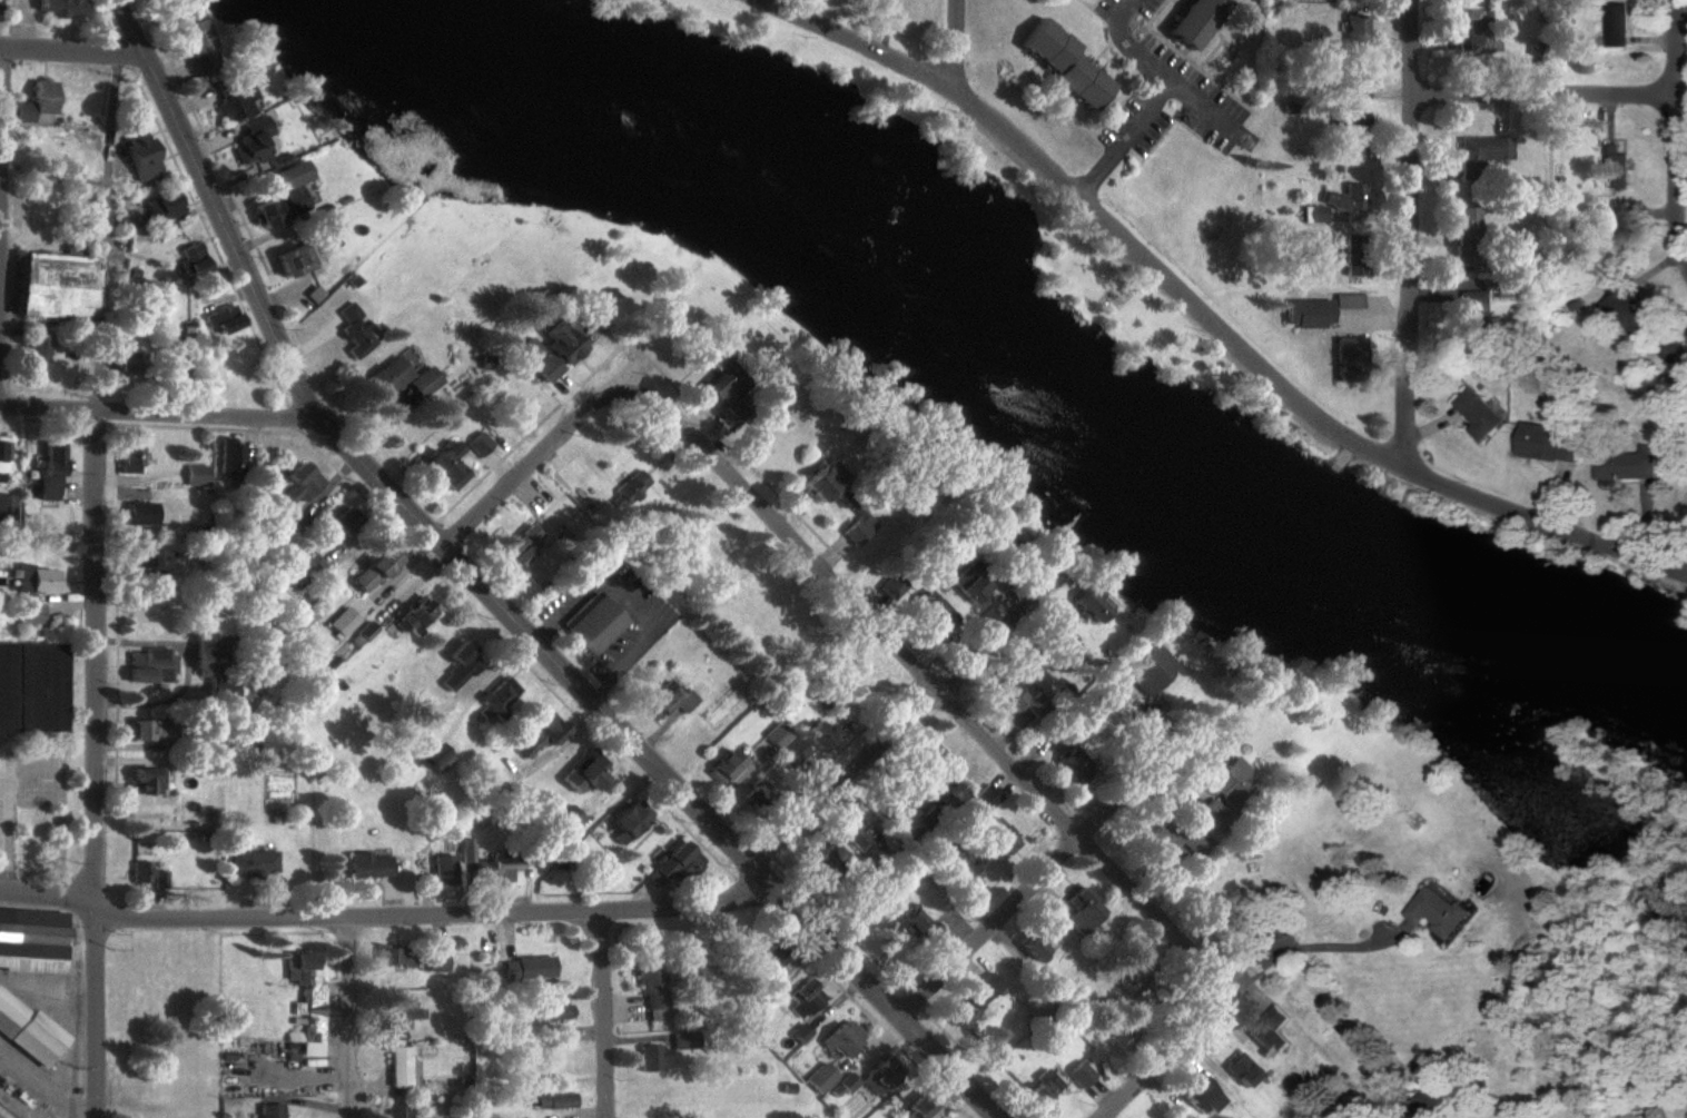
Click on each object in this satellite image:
building: (58, 7)
building: (1192, 21)
road: (1684, 22)
building: (1617, 24)
building: (1354, 31)
building: (1479, 32)
building: (198, 48)
road: (958, 48)
road: (72, 55)
building: (1062, 65)
building: (1354, 77)
road: (1548, 99)
building: (37, 100)
building: (231, 103)
road: (1162, 103)
road: (1197, 108)
road: (1, 122)
road: (1681, 125)
building: (1351, 132)
building: (249, 140)
building: (1479, 154)
building: (139, 156)
building: (1615, 166)
road: (1069, 195)
building: (282, 196)
building: (1343, 197)
building: (166, 205)
building: (1311, 214)
building: (1615, 226)
road: (102, 236)
park: (1012, 237)
road: (1412, 237)
building: (1464, 239)
building: (1351, 255)
building: (191, 259)
building: (292, 260)
building: (53, 286)
building: (1346, 299)
building: (1470, 311)
building: (1627, 311)
building: (1305, 313)
building: (223, 319)
building: (353, 330)
building: (561, 343)
building: (34, 352)
building: (536, 359)
building: (1345, 359)
building: (1677, 359)
building: (126, 362)
building: (169, 365)
building: (385, 377)
building: (422, 382)
building: (720, 385)
river: (1017, 389)
building: (1480, 413)
road: (159, 417)
building: (1550, 442)
building: (477, 444)
building: (3, 456)
building: (129, 456)
building: (230, 456)
road: (1341, 459)
building: (1629, 463)
building: (444, 464)
building: (49, 471)
road: (540, 471)
building: (197, 475)
building: (820, 481)
building: (299, 483)
building: (631, 486)
building: (7, 507)
building: (139, 513)
road: (1517, 515)
building: (339, 525)
building: (856, 526)
building: (997, 542)
building: (521, 544)
building: (310, 562)
building: (150, 564)
building: (374, 571)
building: (38, 580)
building: (967, 584)
building: (888, 587)
road: (493, 601)
building: (1087, 603)
road: (624, 606)
road: (564, 611)
building: (930, 612)
building: (29, 613)
building: (414, 616)
building: (342, 622)
building: (593, 623)
building: (364, 632)
building: (1065, 647)
building: (149, 665)
building: (460, 665)
building: (214, 666)
road: (620, 666)
building: (1146, 669)
building: (31, 687)
road: (933, 692)
building: (499, 695)
building: (1006, 695)
building: (671, 700)
building: (1035, 705)
building: (146, 731)
road: (904, 731)
building: (542, 732)
building: (820, 734)
building: (778, 735)
building: (930, 755)
building: (436, 758)
building: (1073, 765)
road: (93, 766)
building: (724, 766)
building: (584, 773)
building: (1230, 779)
building: (147, 780)
building: (757, 794)
building: (954, 795)
building: (986, 797)
building: (891, 807)
building: (1214, 815)
building: (570, 818)
building: (629, 820)
building: (857, 835)
building: (999, 837)
building: (1172, 840)
building: (466, 850)
building: (829, 859)
building: (253, 862)
building: (674, 863)
building: (368, 865)
building: (501, 865)
building: (956, 869)
building: (443, 870)
building: (140, 873)
building: (160, 880)
road: (1042, 887)
building: (1082, 910)
building: (1440, 911)
road: (383, 922)
building: (917, 926)
building: (32, 940)
building: (1037, 943)
building: (72, 951)
road: (1323, 951)
building: (397, 957)
building: (767, 960)
building: (436, 962)
building: (527, 968)
building: (988, 985)
building: (651, 986)
building: (802, 998)
building: (555, 1005)
building: (308, 1006)
building: (963, 1010)
building: (399, 1015)
road: (608, 1017)
road: (352, 1020)
building: (28, 1030)
building: (1269, 1030)
building: (799, 1032)
building: (842, 1038)
building: (682, 1040)
building: (648, 1058)
road: (1183, 1062)
building: (402, 1067)
building: (1241, 1070)
building: (1079, 1075)
building: (820, 1077)
building: (879, 1077)
building: (847, 1082)
building: (1042, 1088)
building: (1201, 1096)
building: (553, 1100)
building: (921, 1104)
building: (270, 1110)
building: (397, 1110)

